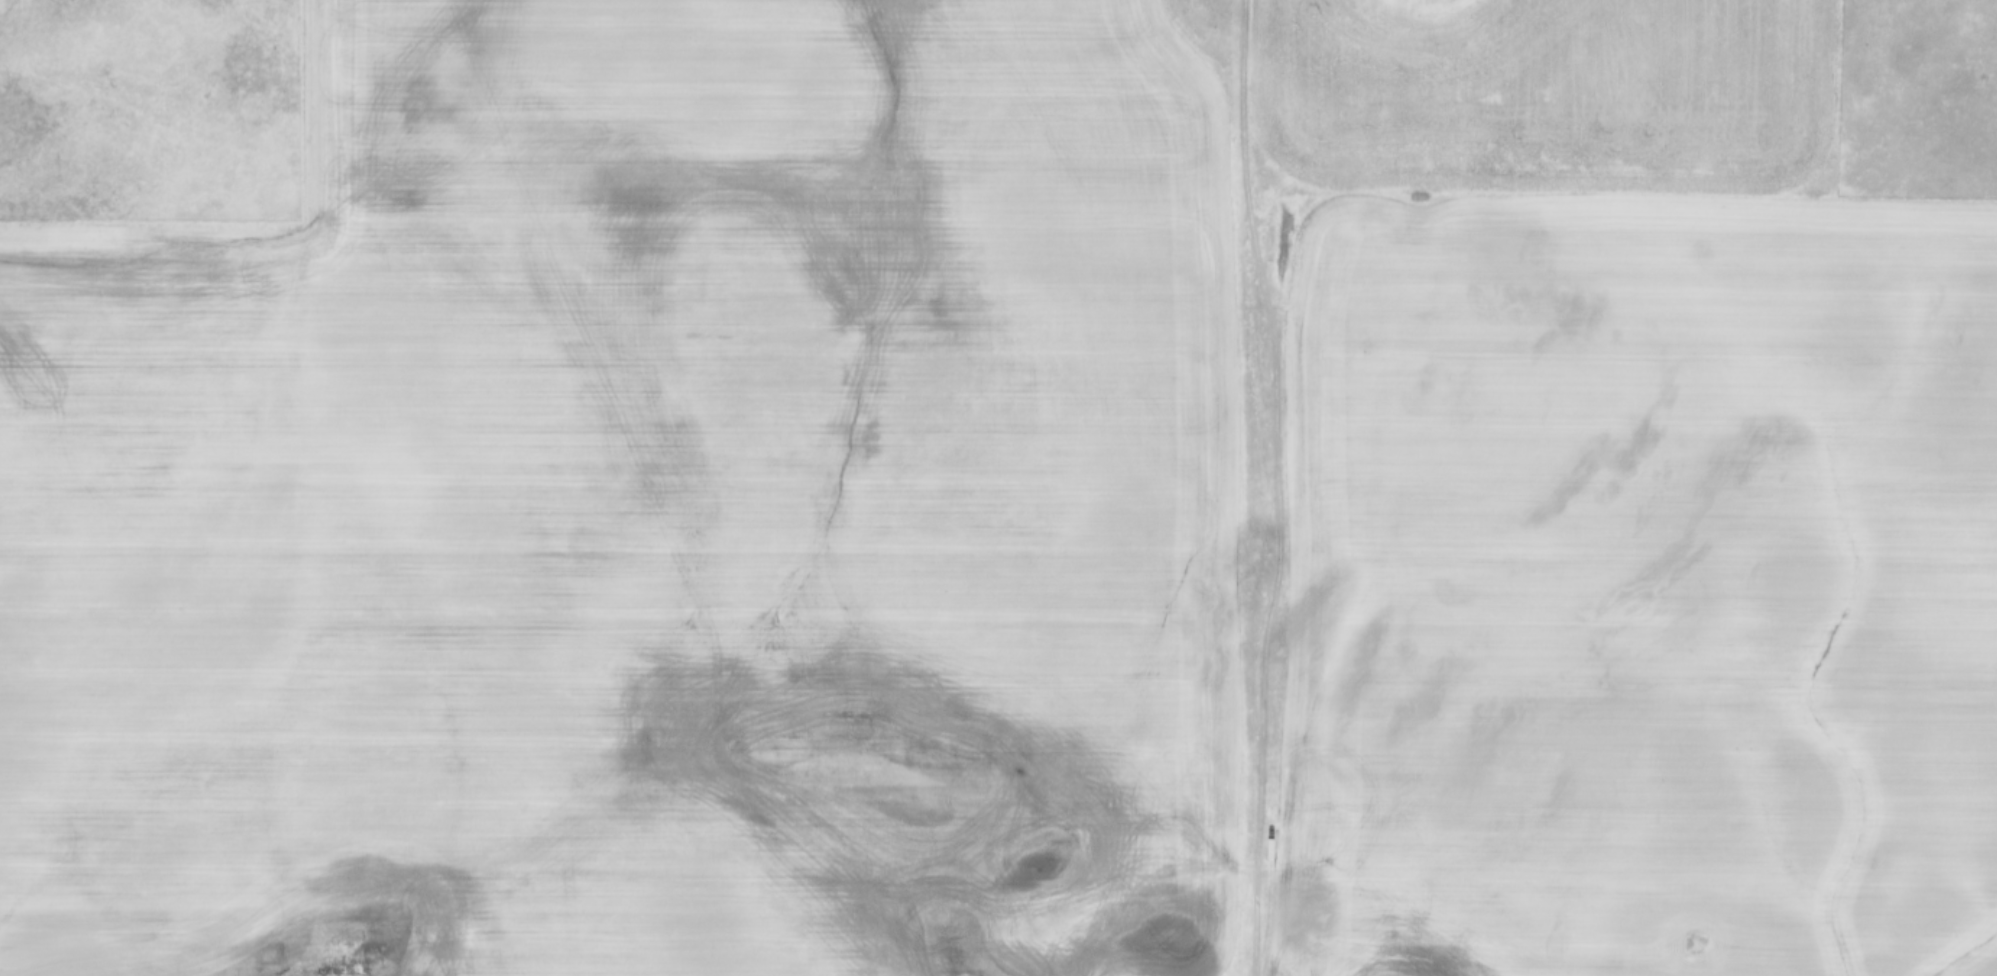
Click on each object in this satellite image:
road: (1264, 487)

